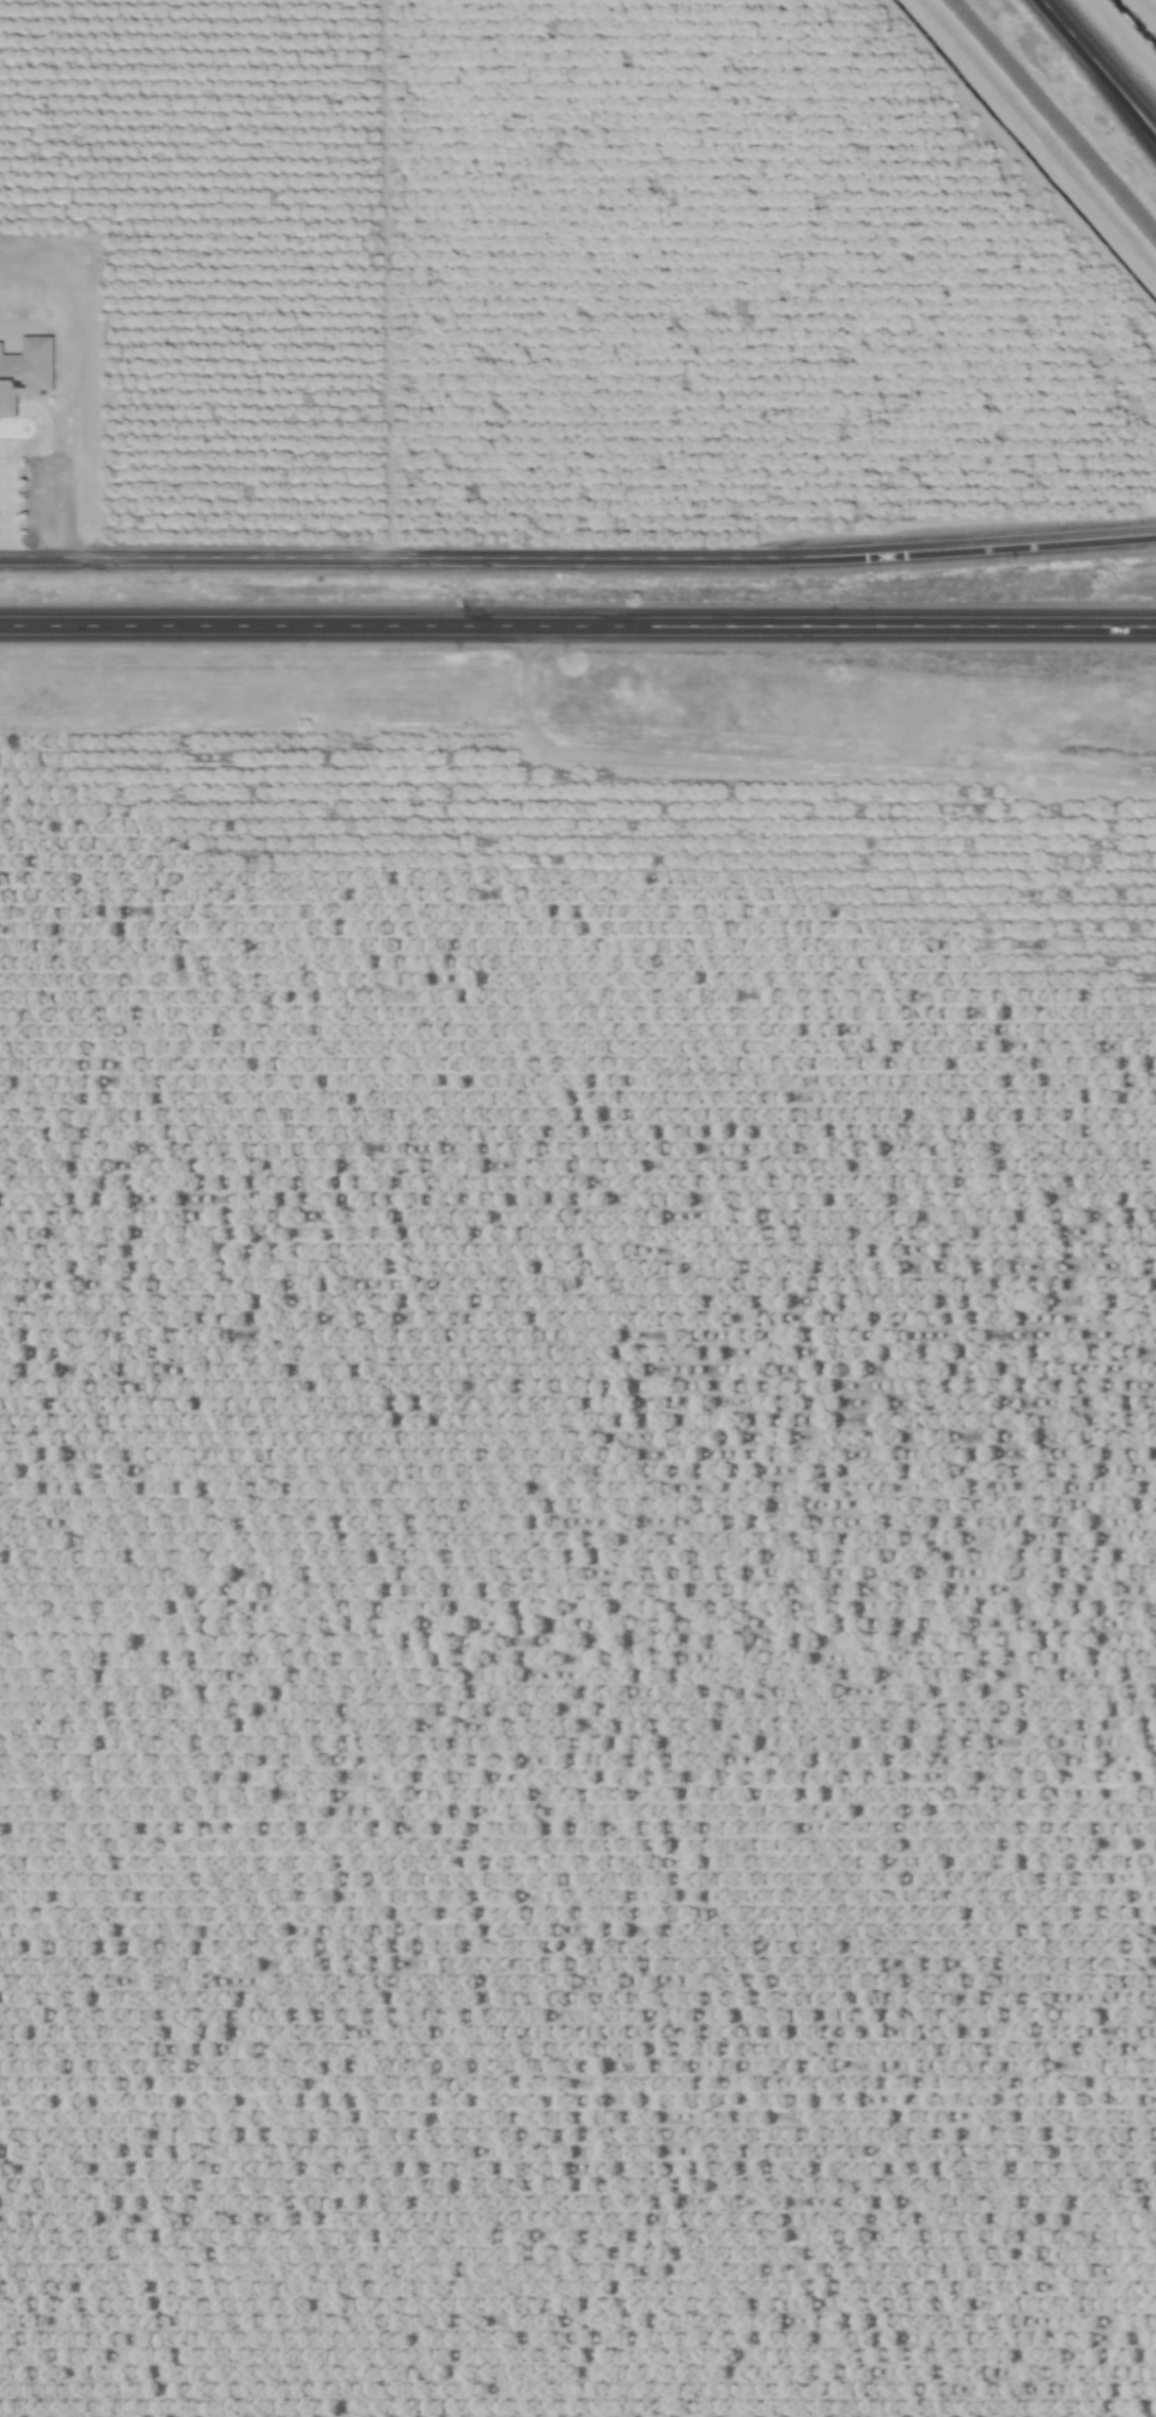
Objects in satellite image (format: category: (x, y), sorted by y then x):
crop: (1122, 37)
road: (1099, 67)
railway: (1052, 118)
crop: (515, 310)
building: (26, 373)
road: (11, 408)
road: (2, 449)
road: (5, 463)
road: (578, 558)
road: (578, 623)
crop: (570, 1581)

